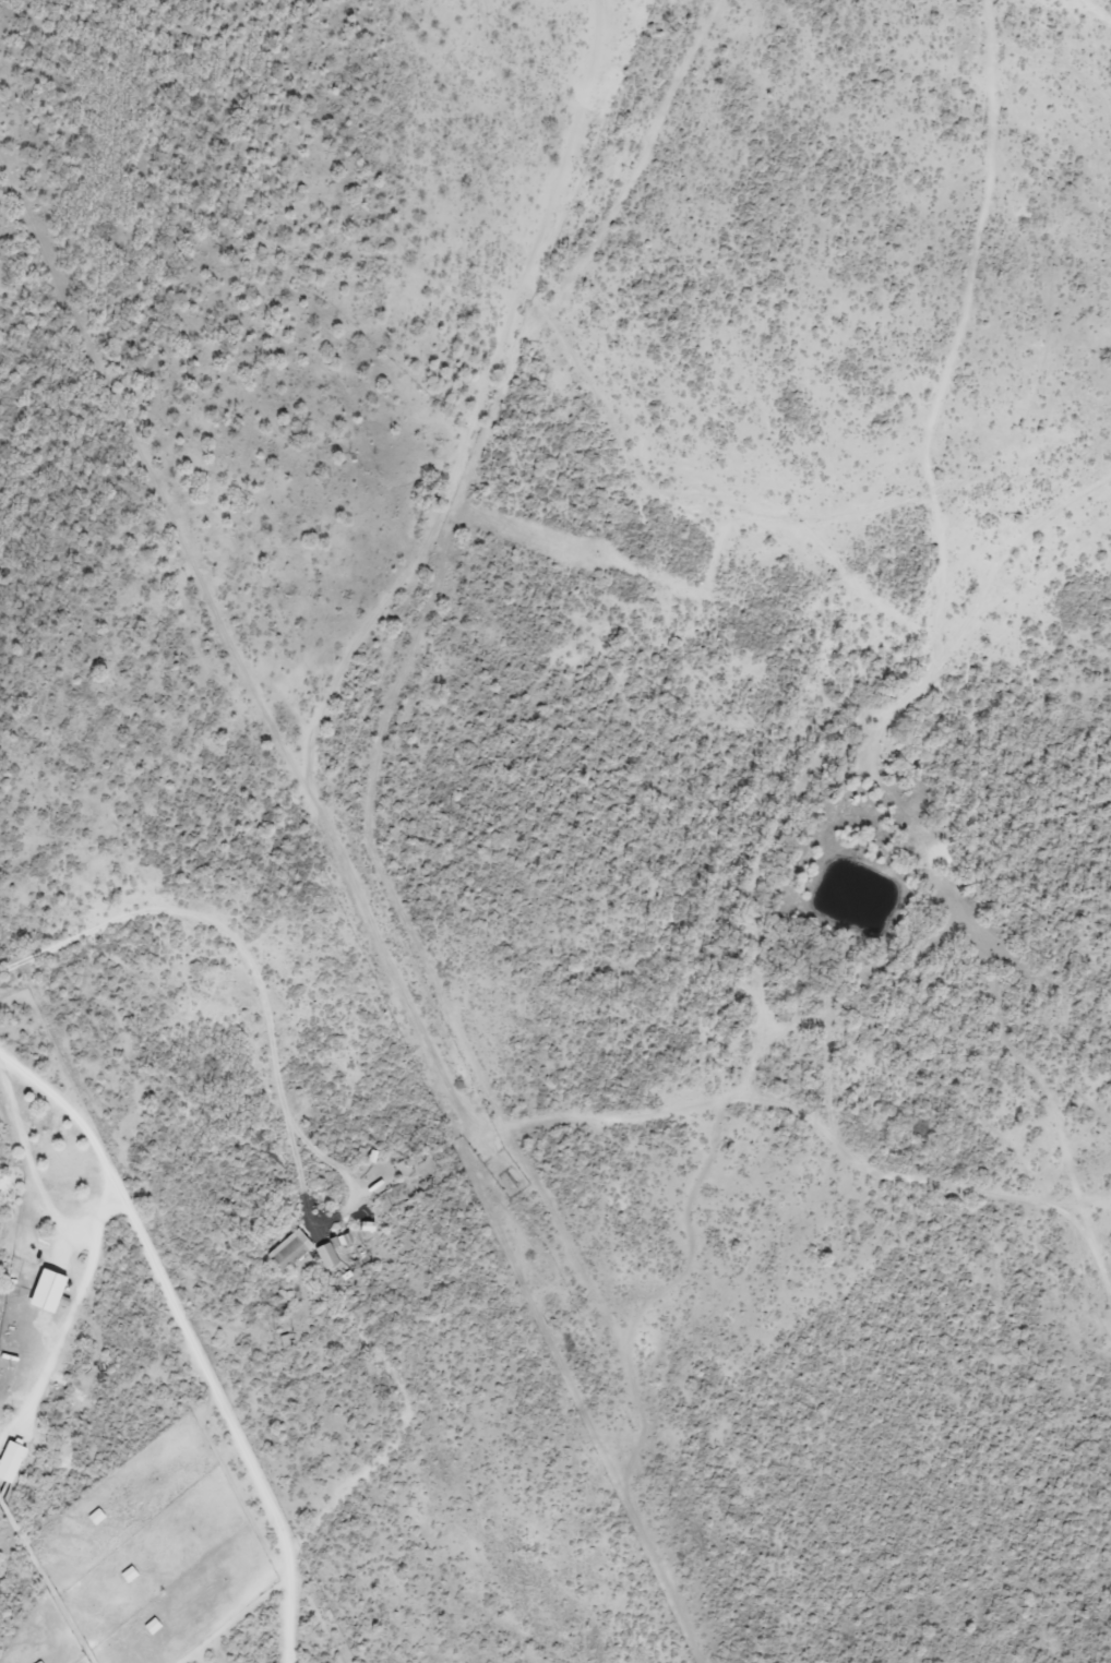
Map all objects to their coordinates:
road: (217, 932)
road: (198, 1004)
road: (1080, 1199)
building: (287, 1254)
building: (324, 1258)
building: (44, 1293)
building: (151, 1628)

